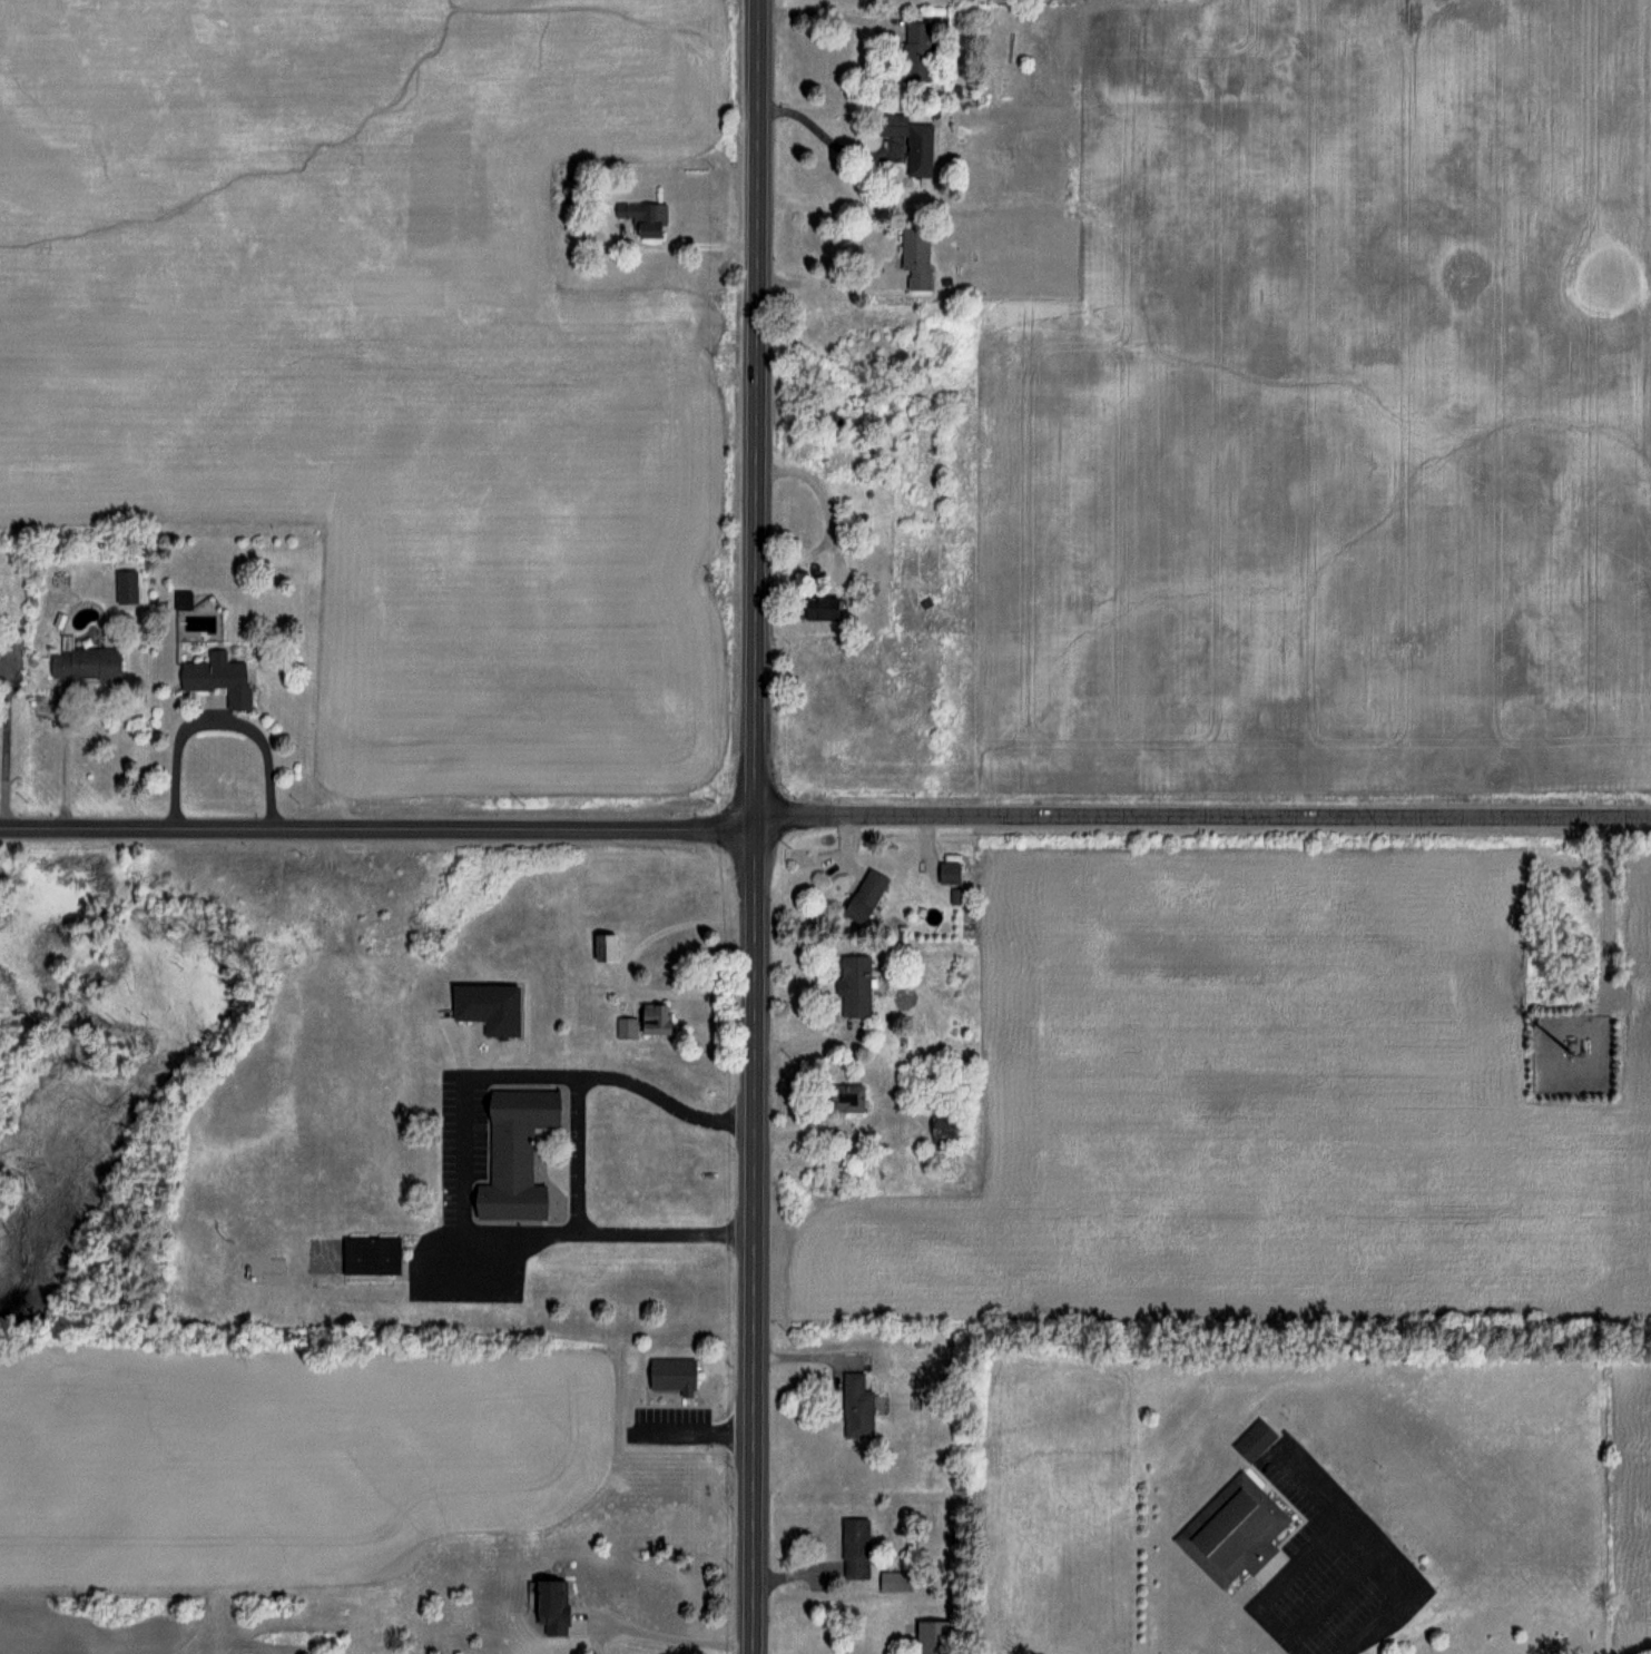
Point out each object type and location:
road: (824, 11)
building: (914, 51)
road: (822, 138)
building: (907, 139)
building: (642, 217)
road: (689, 246)
building: (913, 255)
road: (824, 267)
road: (758, 411)
building: (817, 607)
building: (83, 662)
building: (217, 677)
road: (210, 717)
road: (66, 757)
road: (1203, 818)
road: (379, 829)
building: (946, 872)
building: (863, 895)
building: (602, 946)
building: (854, 985)
building: (484, 1007)
building: (642, 1022)
building: (844, 1096)
building: (943, 1126)
road: (567, 1134)
building: (512, 1155)
road: (755, 1239)
building: (370, 1256)
building: (670, 1375)
building: (855, 1406)
building: (1252, 1440)
road: (1347, 1514)
building: (1231, 1530)
building: (854, 1547)
building: (896, 1579)
building: (548, 1606)
road: (666, 1637)
building: (930, 1637)

